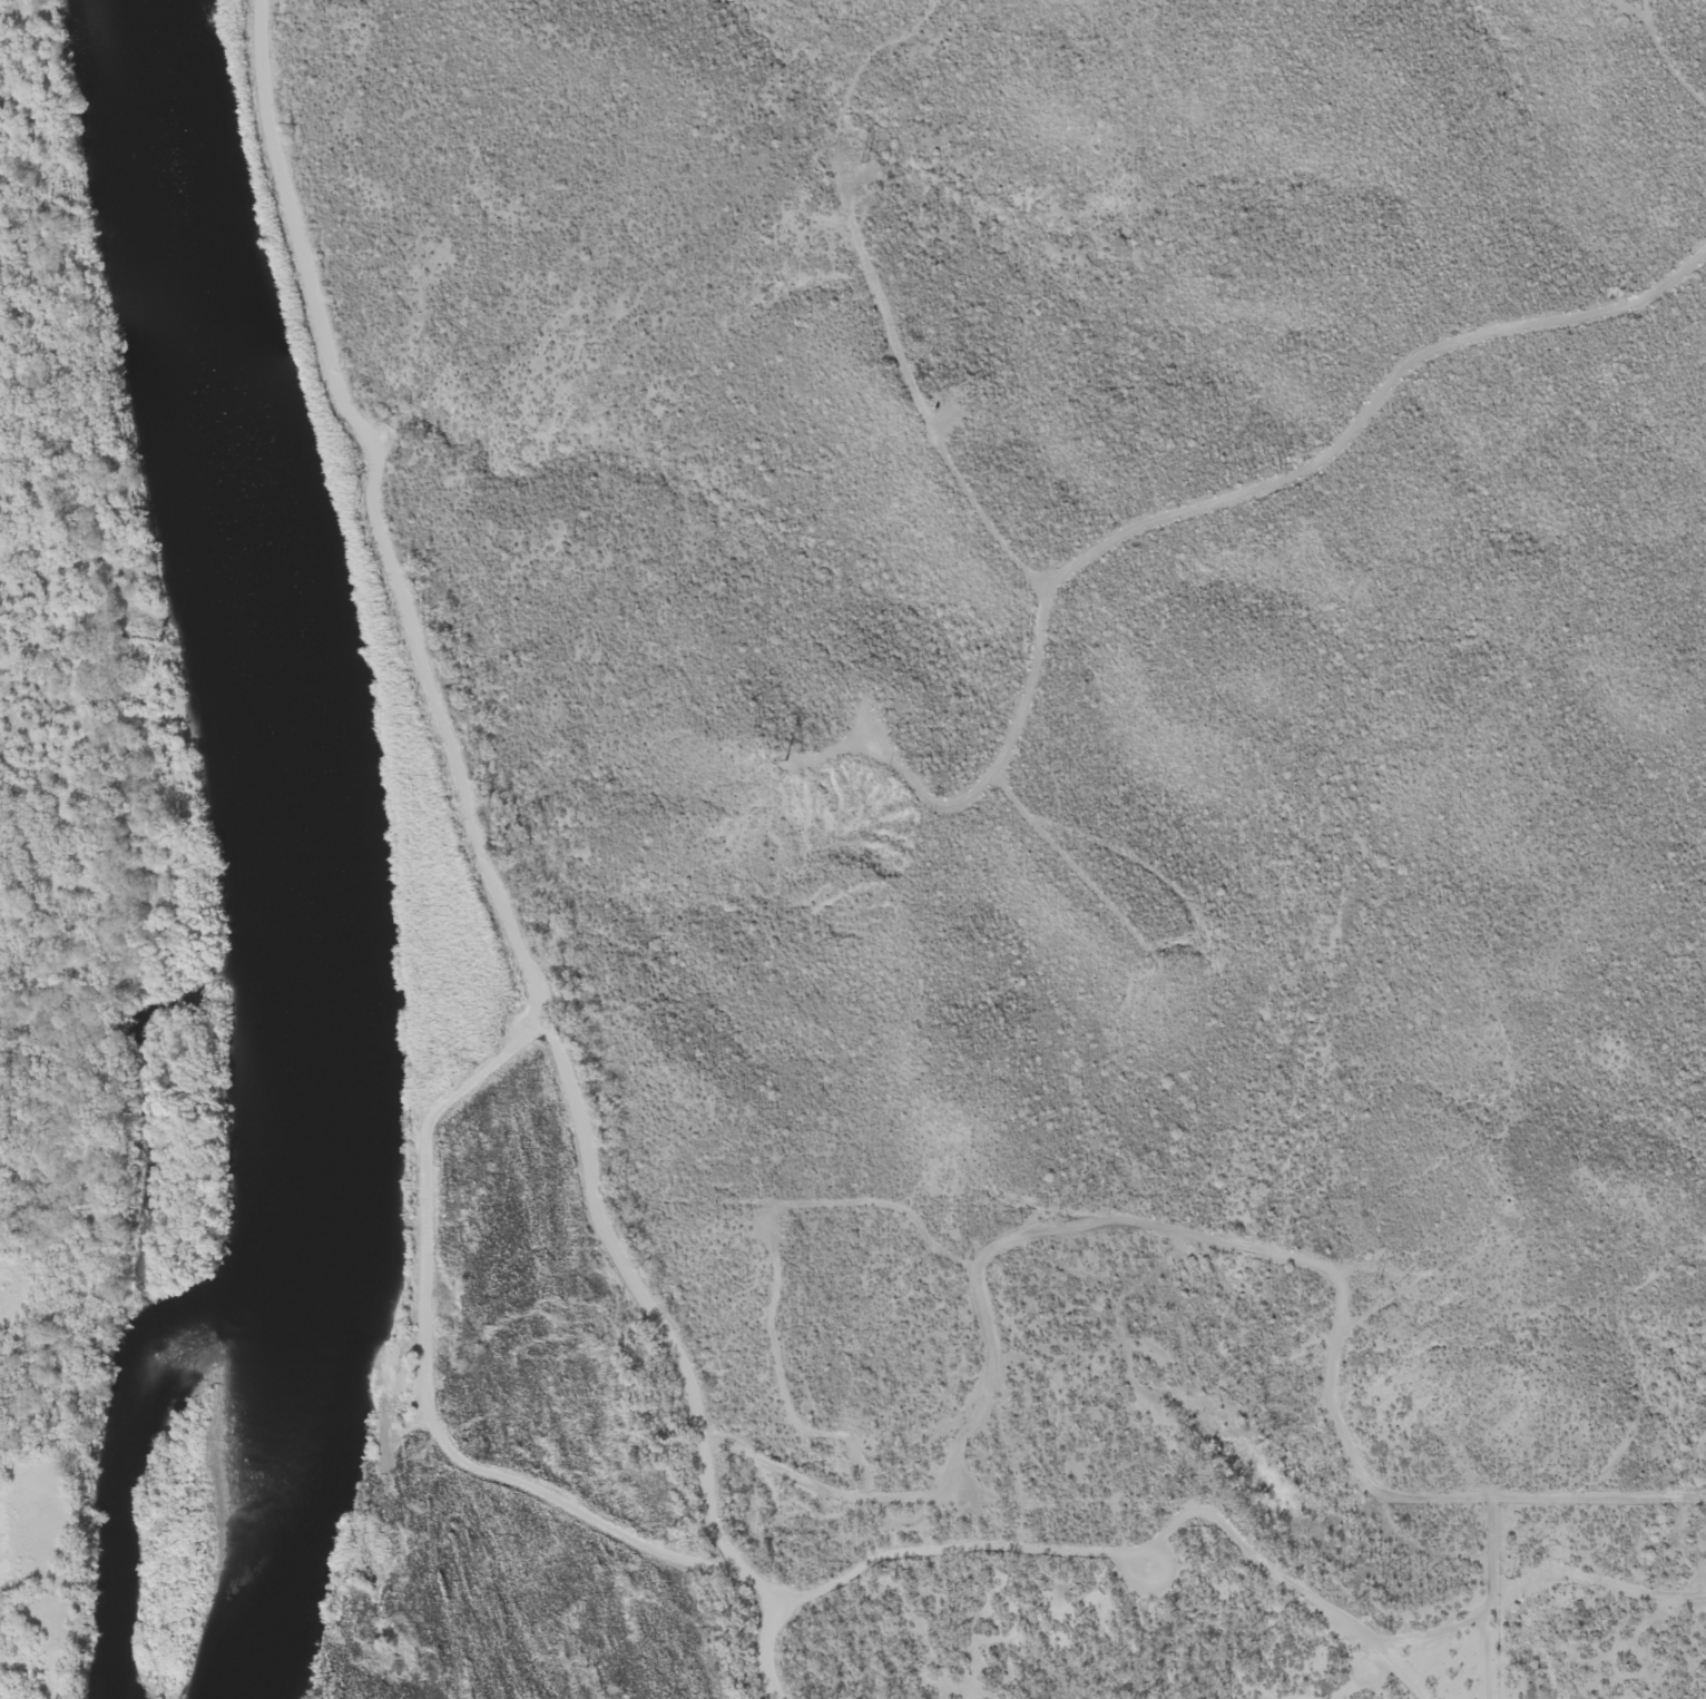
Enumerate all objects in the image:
road: (1584, 320)
road: (1109, 544)
road: (442, 726)
river: (302, 852)
road: (514, 1487)
road: (1133, 1551)
road: (780, 1649)

